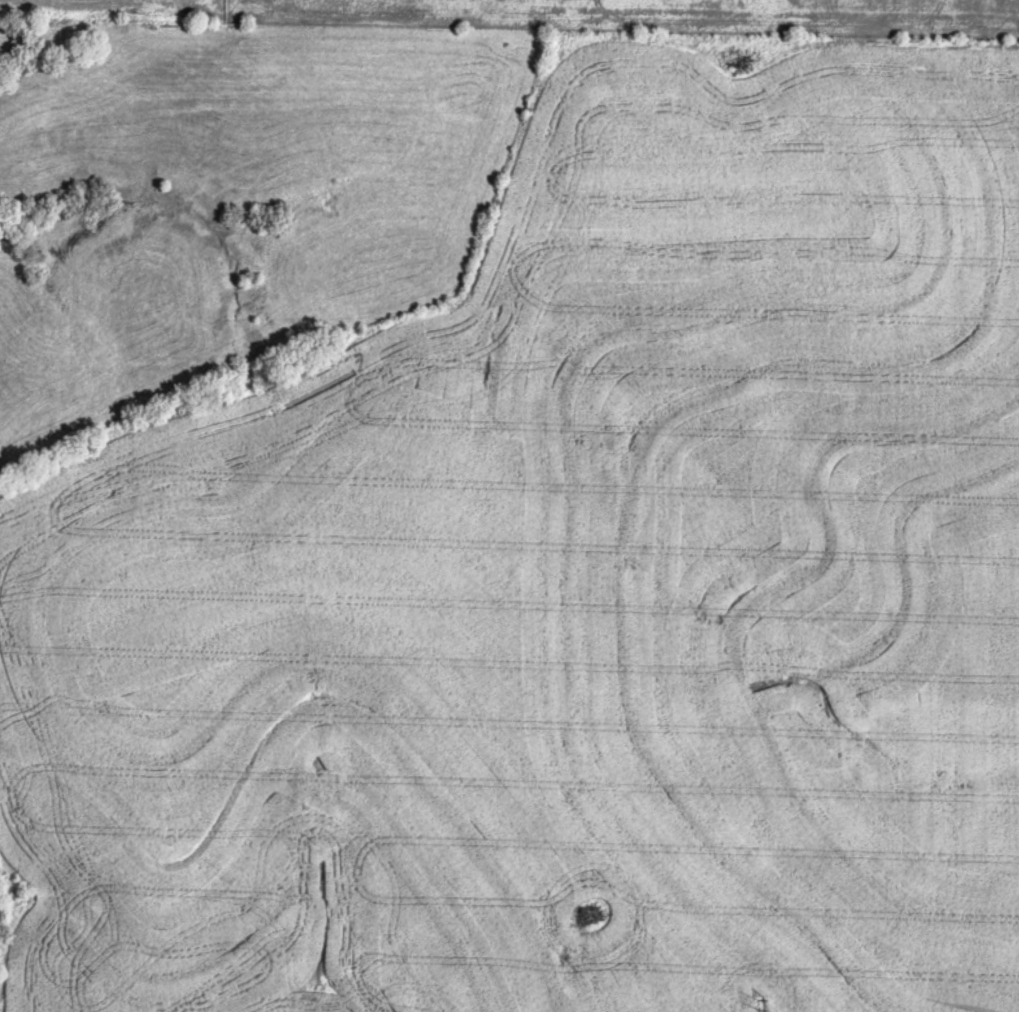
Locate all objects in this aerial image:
power tower: (761, 1005)

